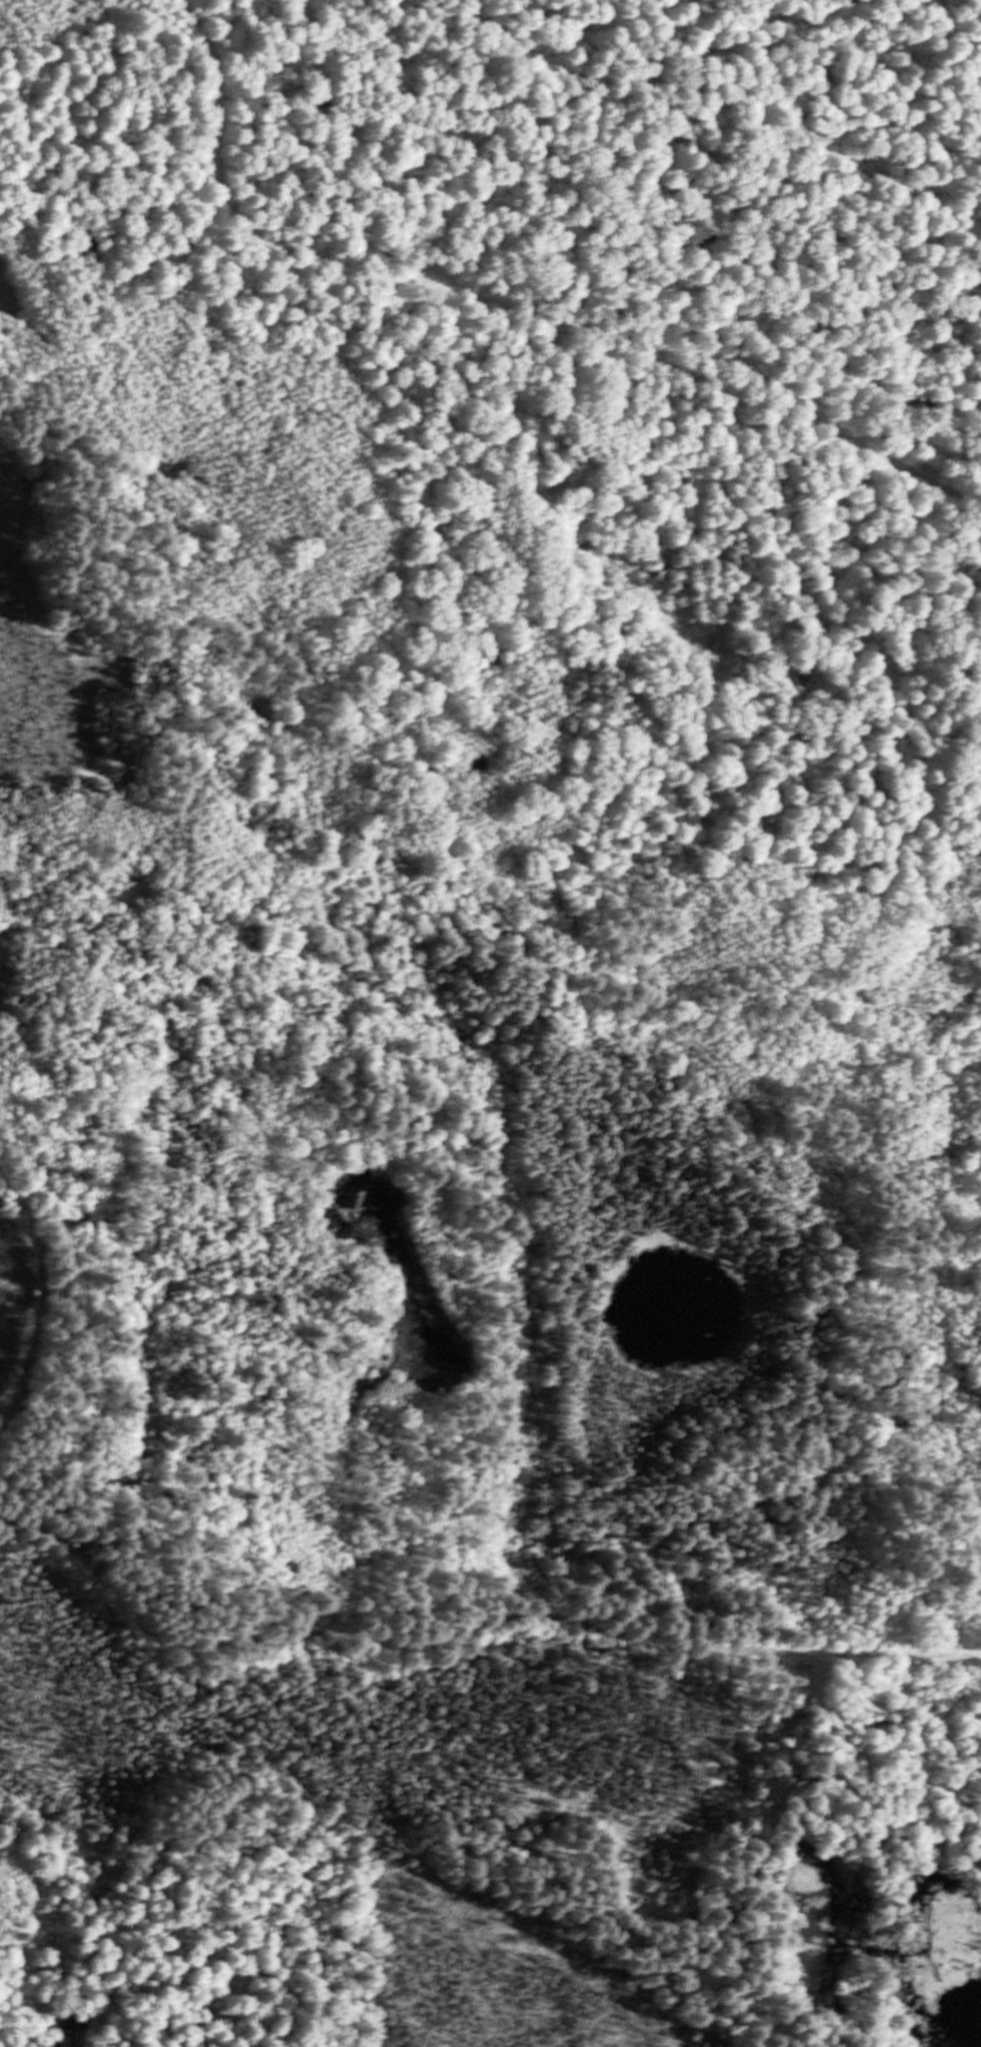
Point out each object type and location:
road: (335, 1628)

